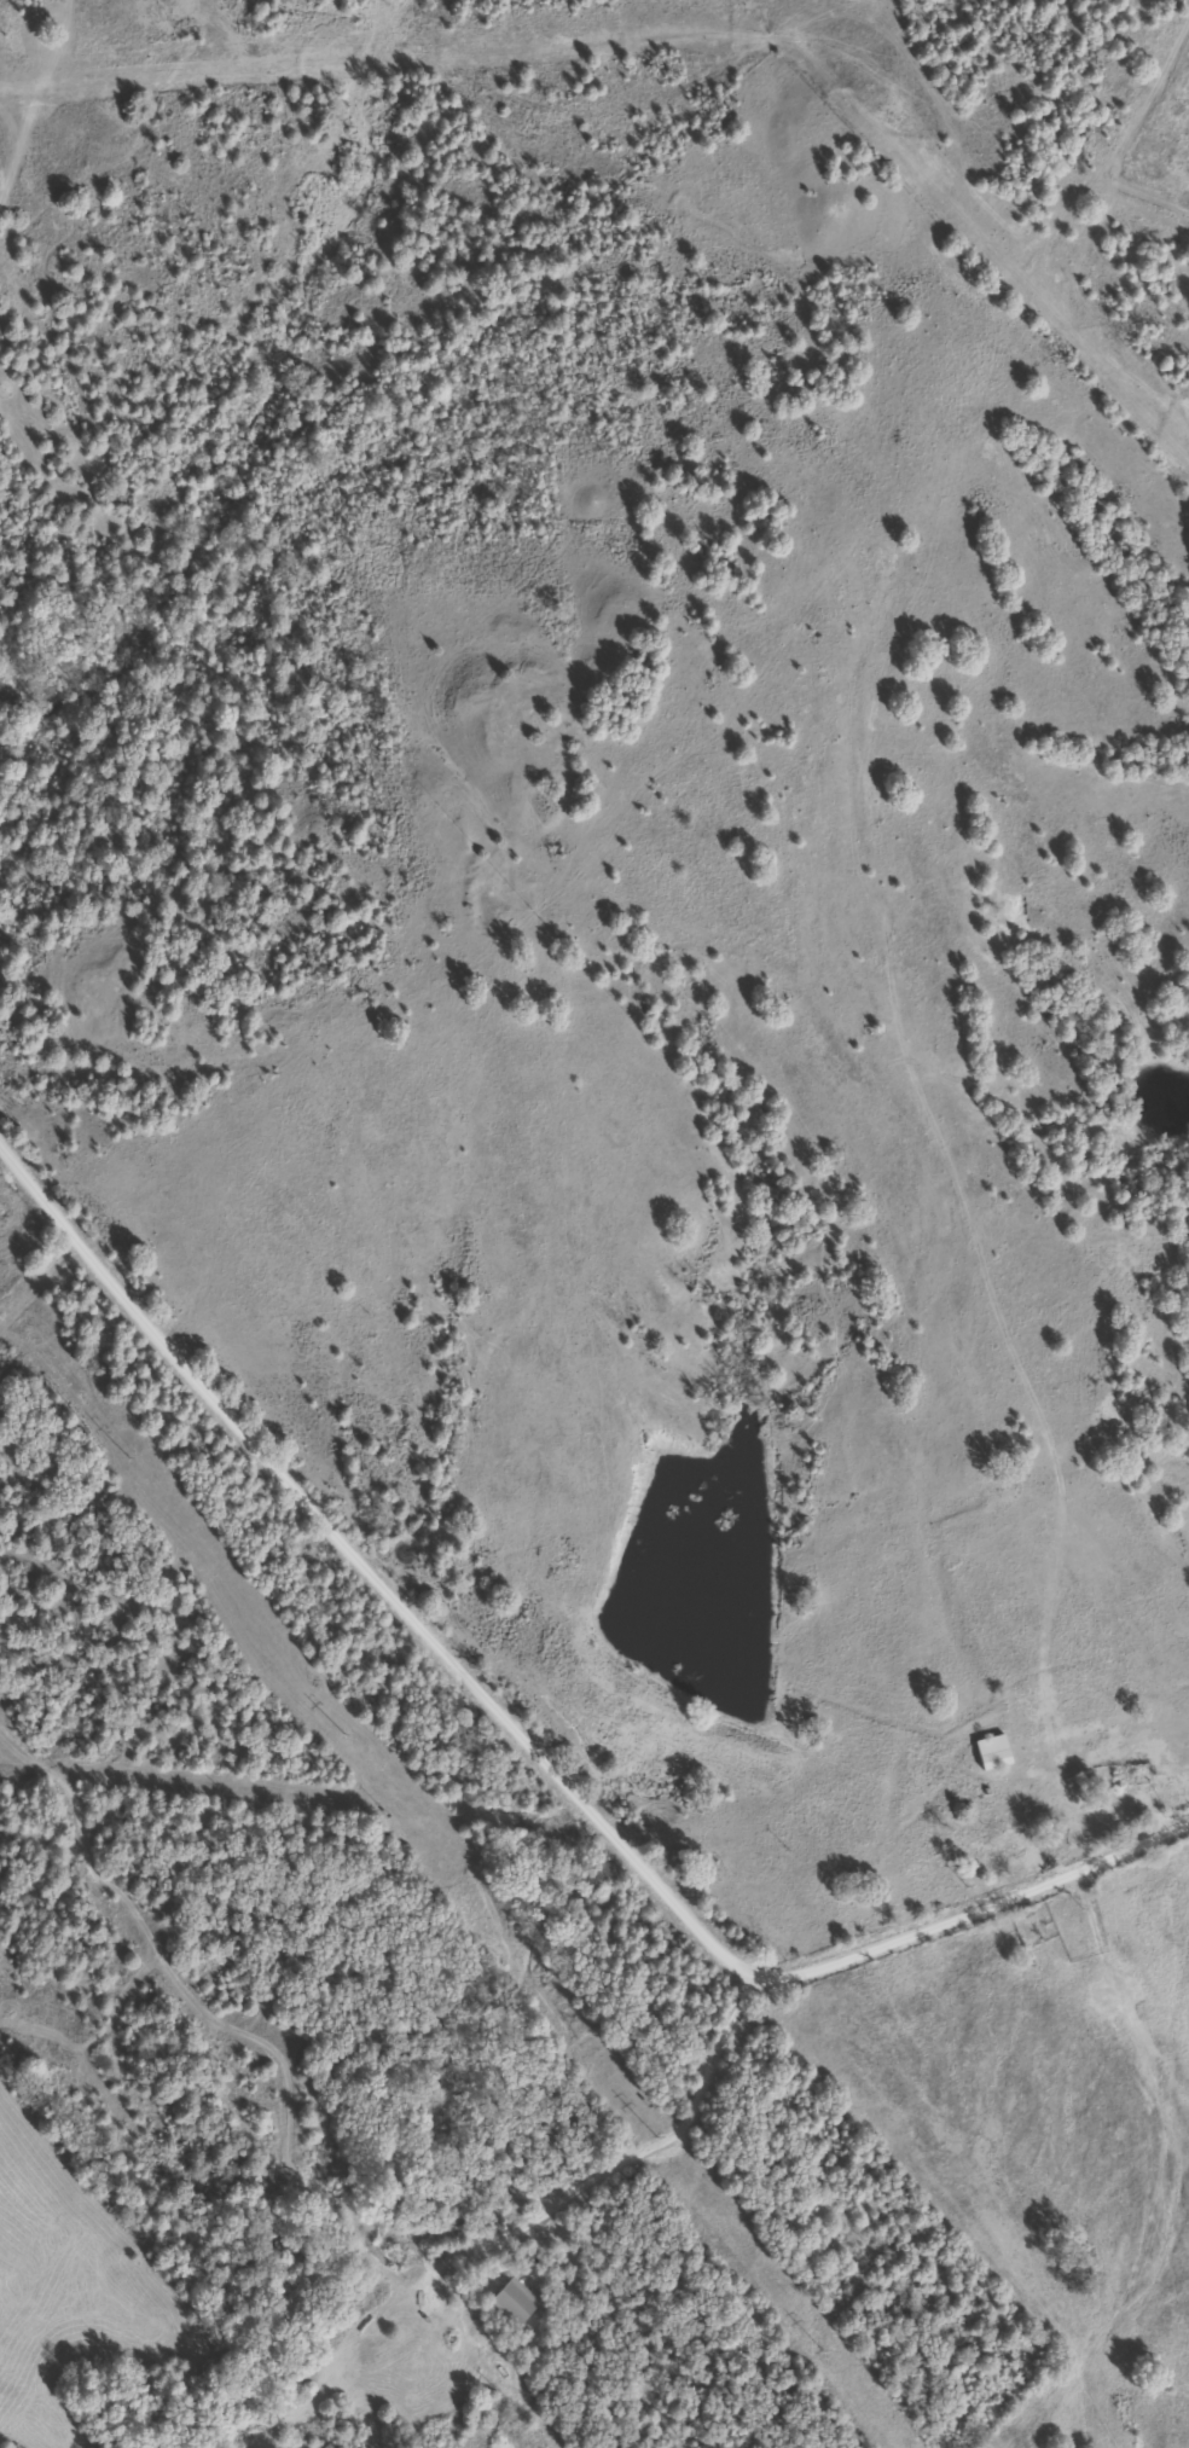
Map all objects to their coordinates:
road: (533, 1741)
building: (992, 1751)
building: (515, 2302)

